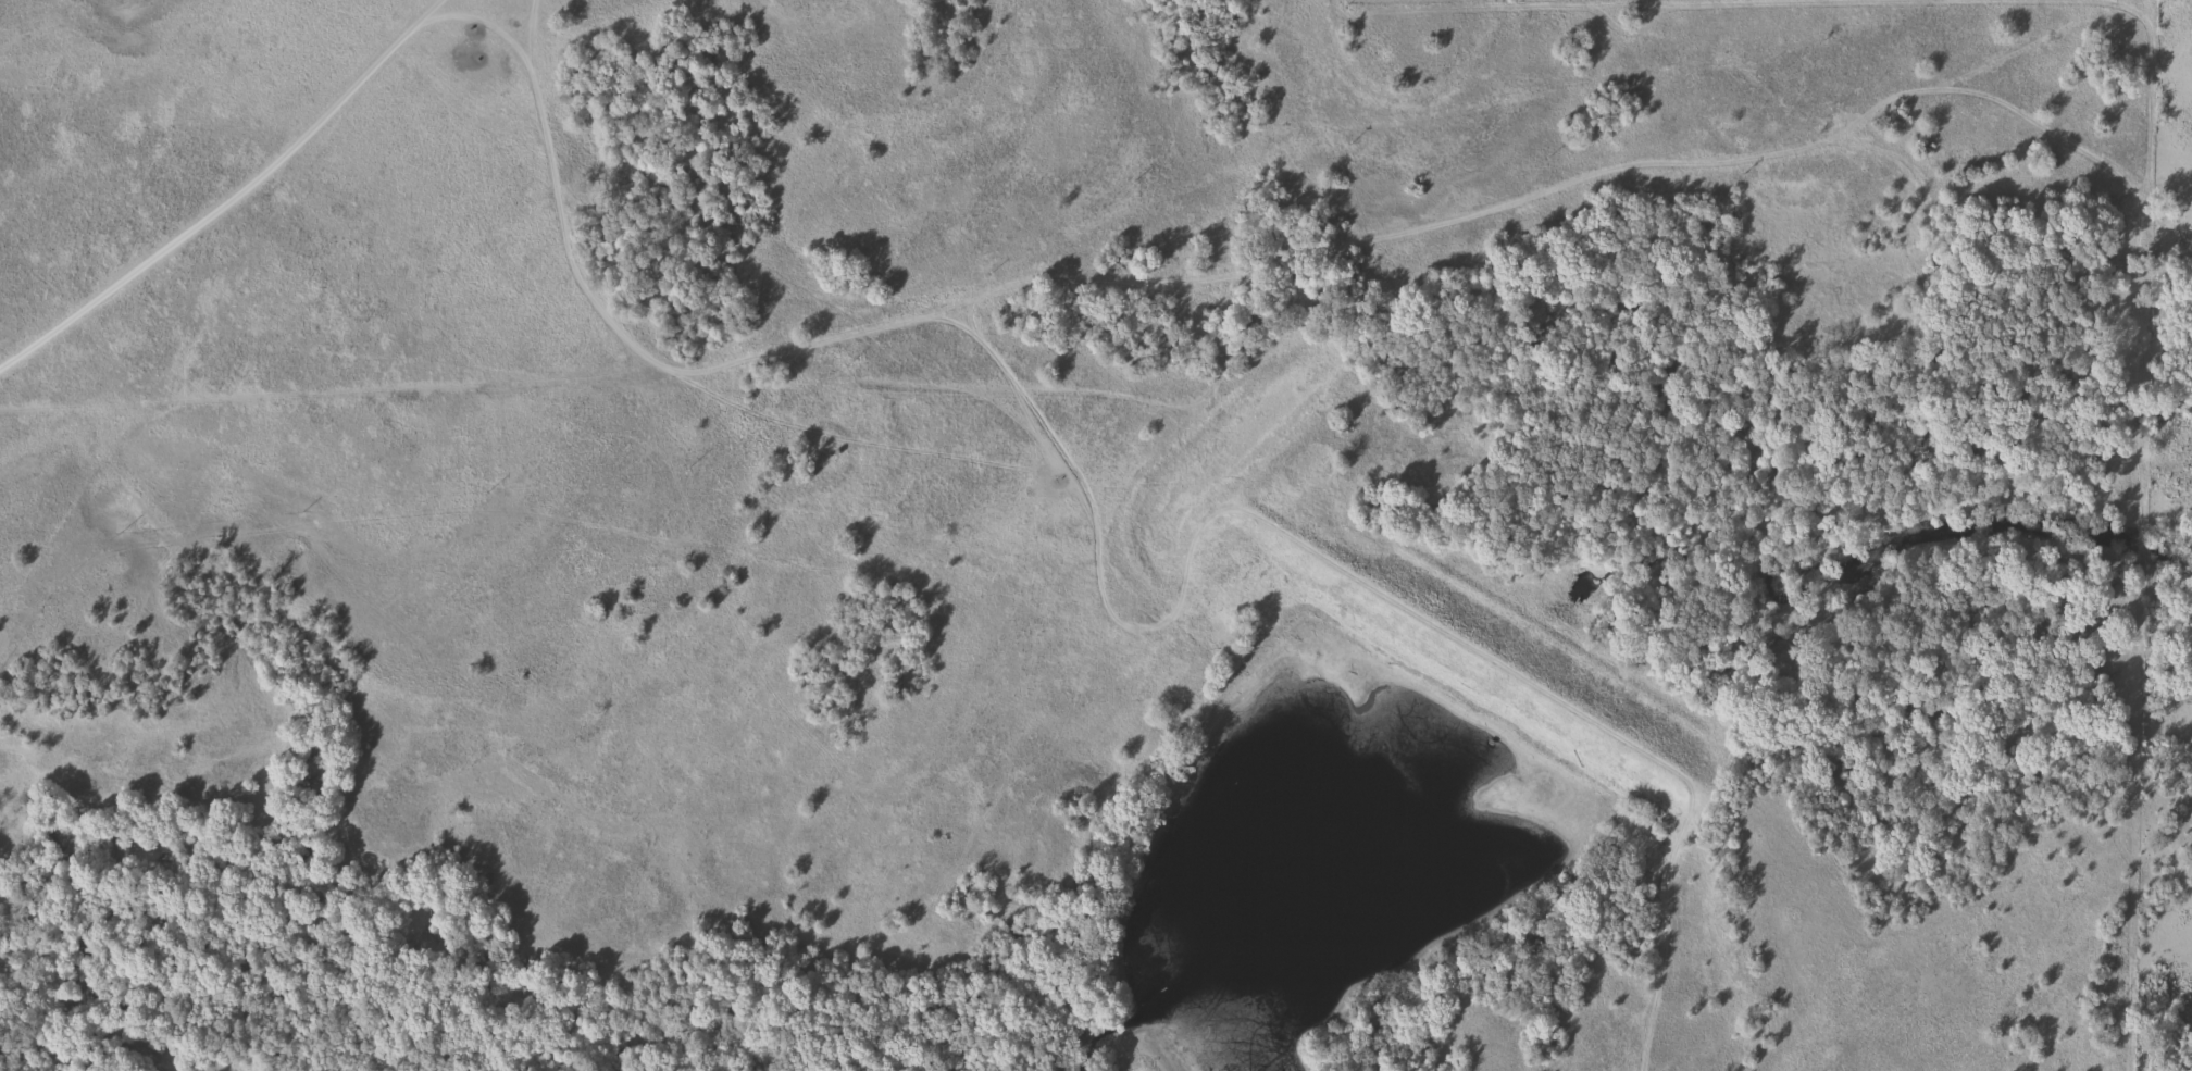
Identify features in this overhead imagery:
road: (501, 12)
road: (1902, 166)
road: (957, 284)

